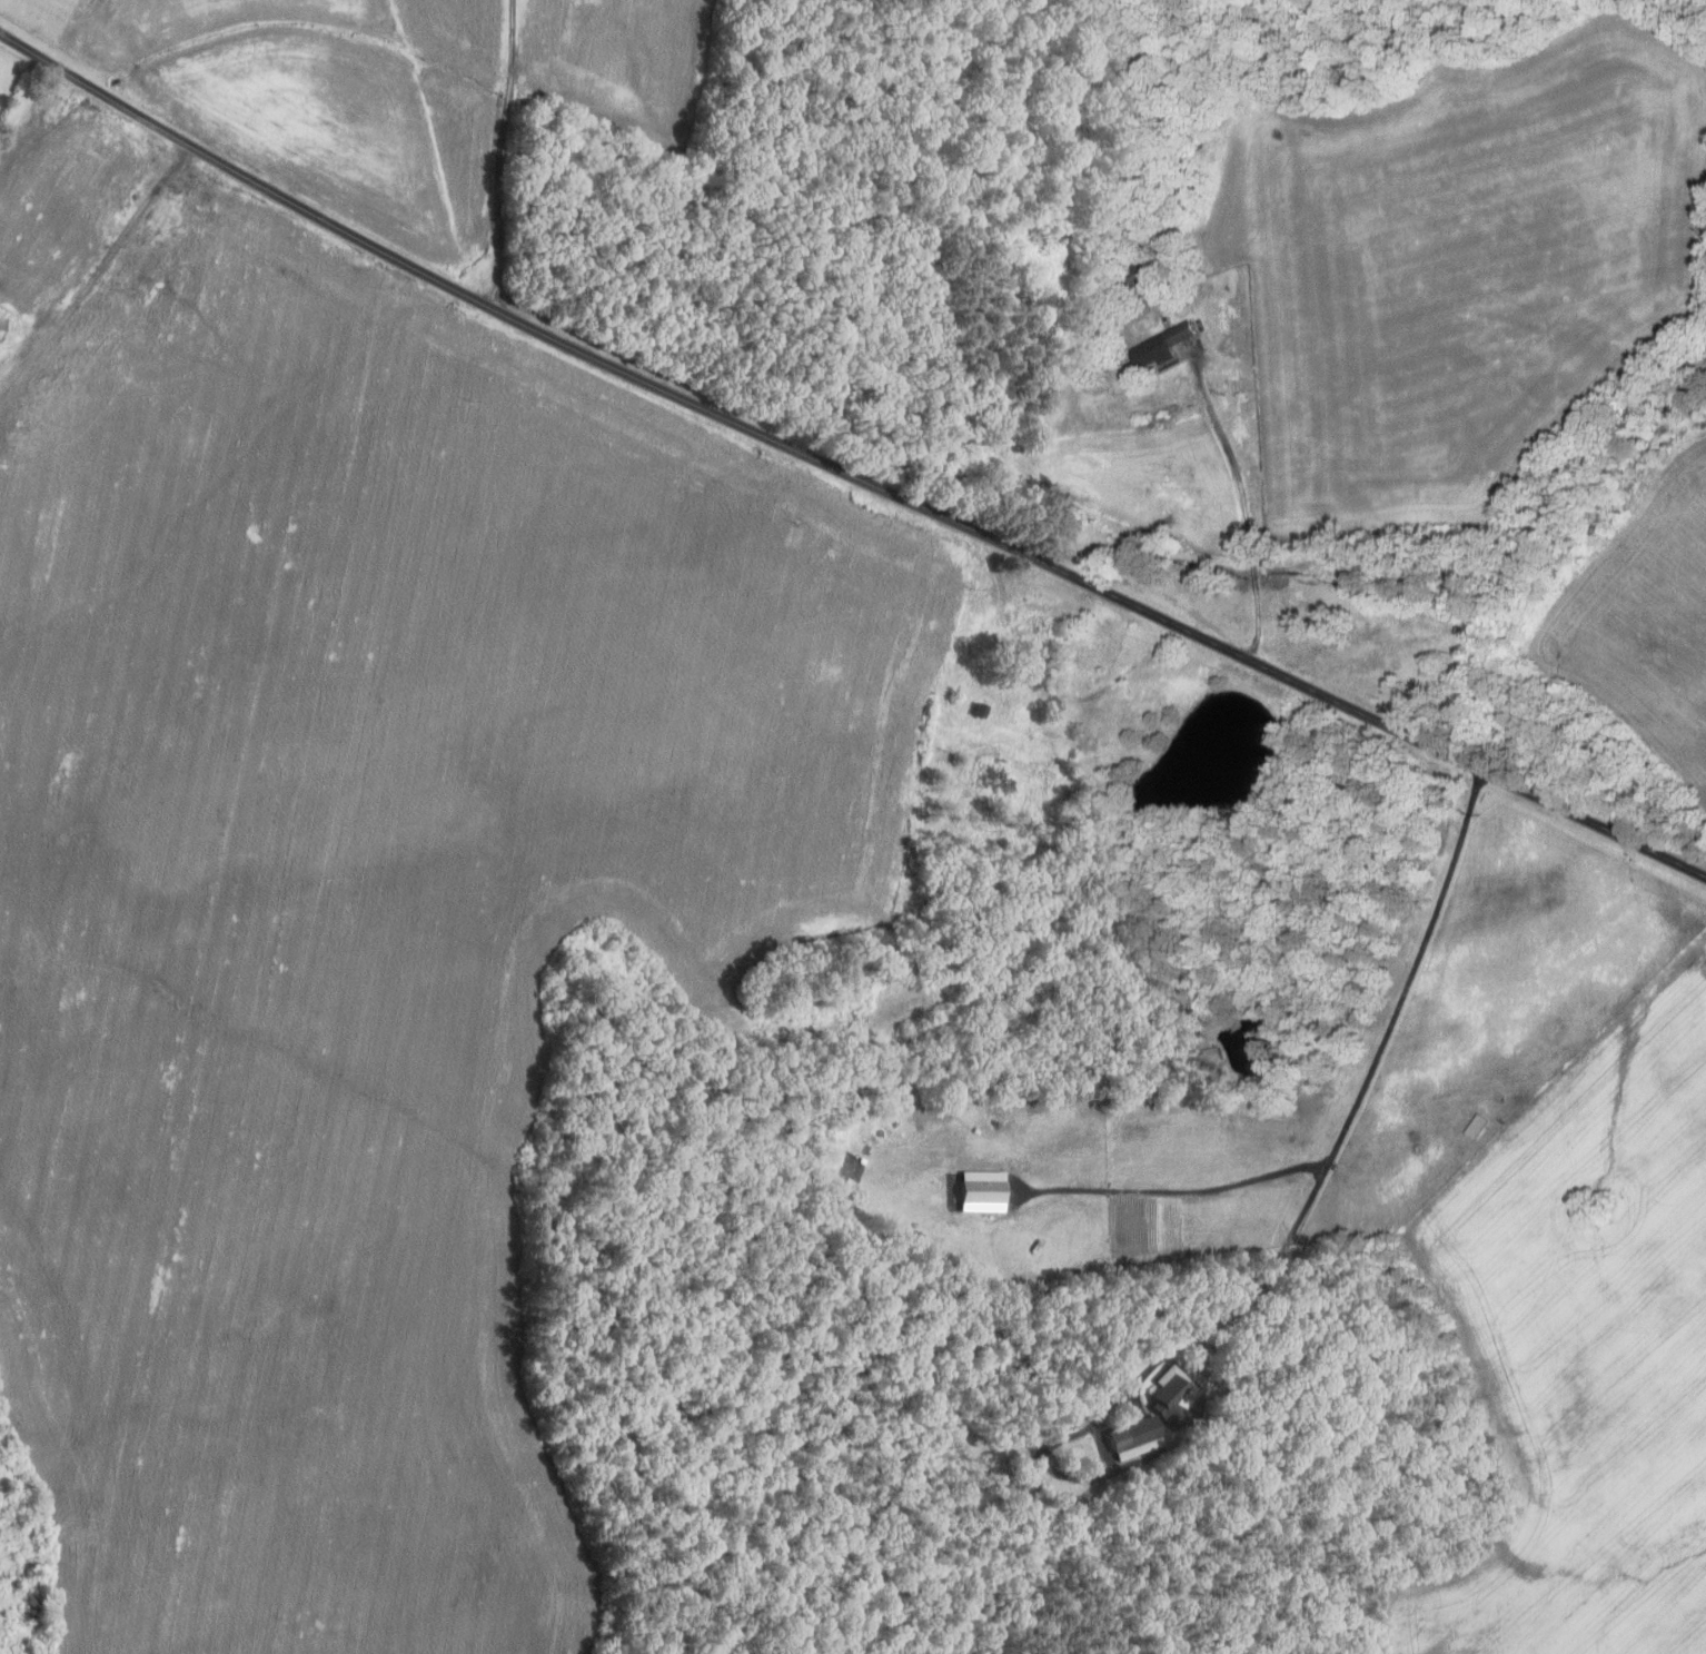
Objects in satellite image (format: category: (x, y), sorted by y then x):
road: (498, 156)
building: (1138, 285)
building: (2, 327)
building: (1164, 346)
road: (844, 472)
road: (1243, 501)
building: (976, 711)
building: (1213, 1053)
road: (1351, 1110)
building: (1477, 1126)
building: (980, 1190)
building: (1037, 1244)
building: (1170, 1395)
building: (1132, 1437)

